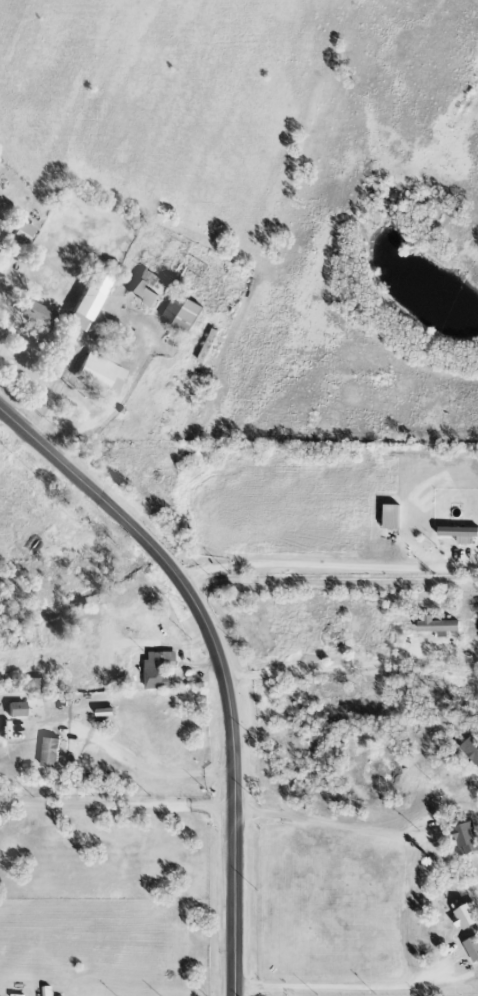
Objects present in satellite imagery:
building: (21, 239)
road: (2, 266)
building: (152, 288)
building: (93, 298)
building: (186, 311)
building: (36, 312)
building: (103, 373)
road: (118, 399)
road: (61, 401)
building: (457, 533)
road: (327, 565)
road: (333, 580)
building: (434, 625)
road: (221, 658)
building: (155, 669)
road: (331, 669)
building: (13, 709)
building: (470, 750)
building: (47, 752)
road: (158, 772)
road: (119, 805)
road: (368, 829)
building: (465, 838)
road: (402, 911)
building: (462, 916)
building: (471, 948)
road: (358, 986)

